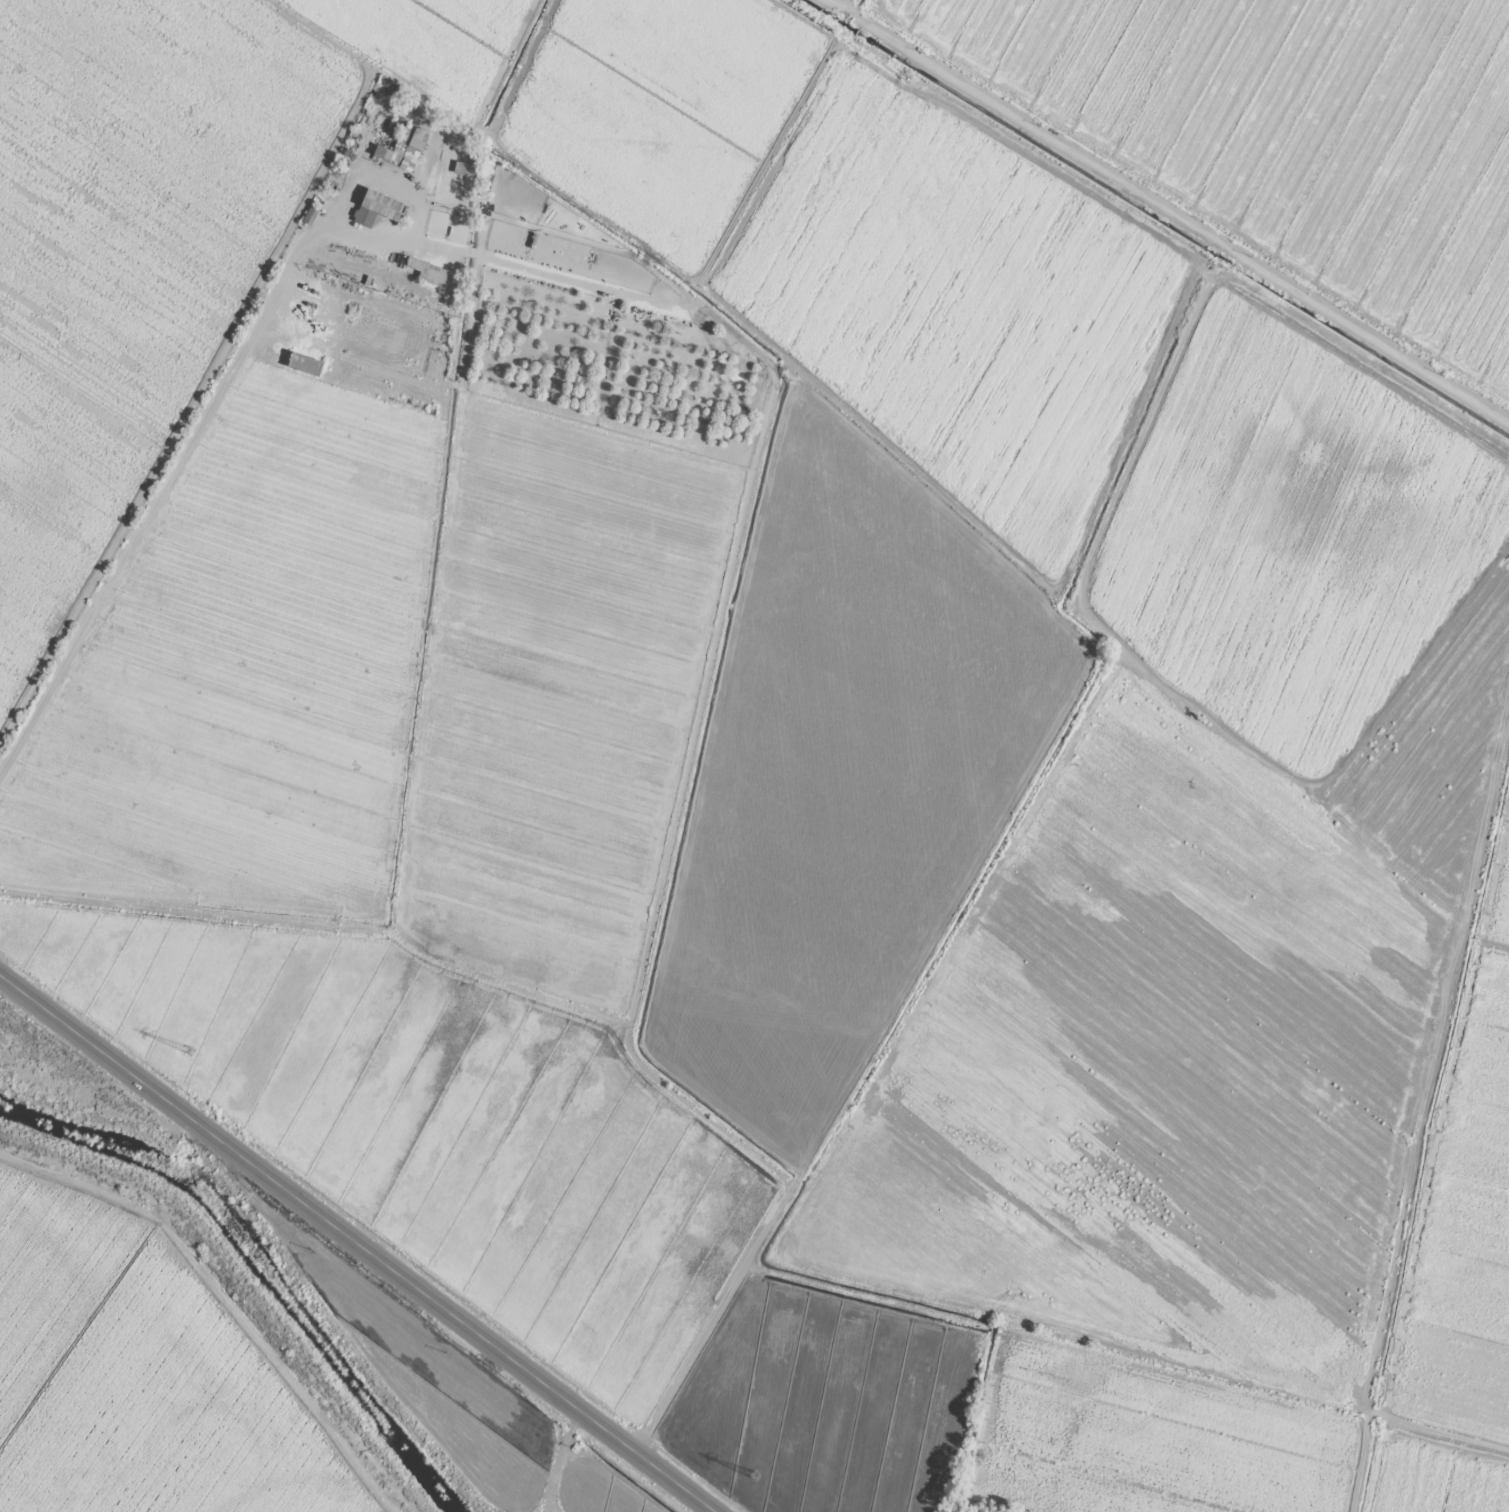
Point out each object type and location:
road: (1439, 1427)

